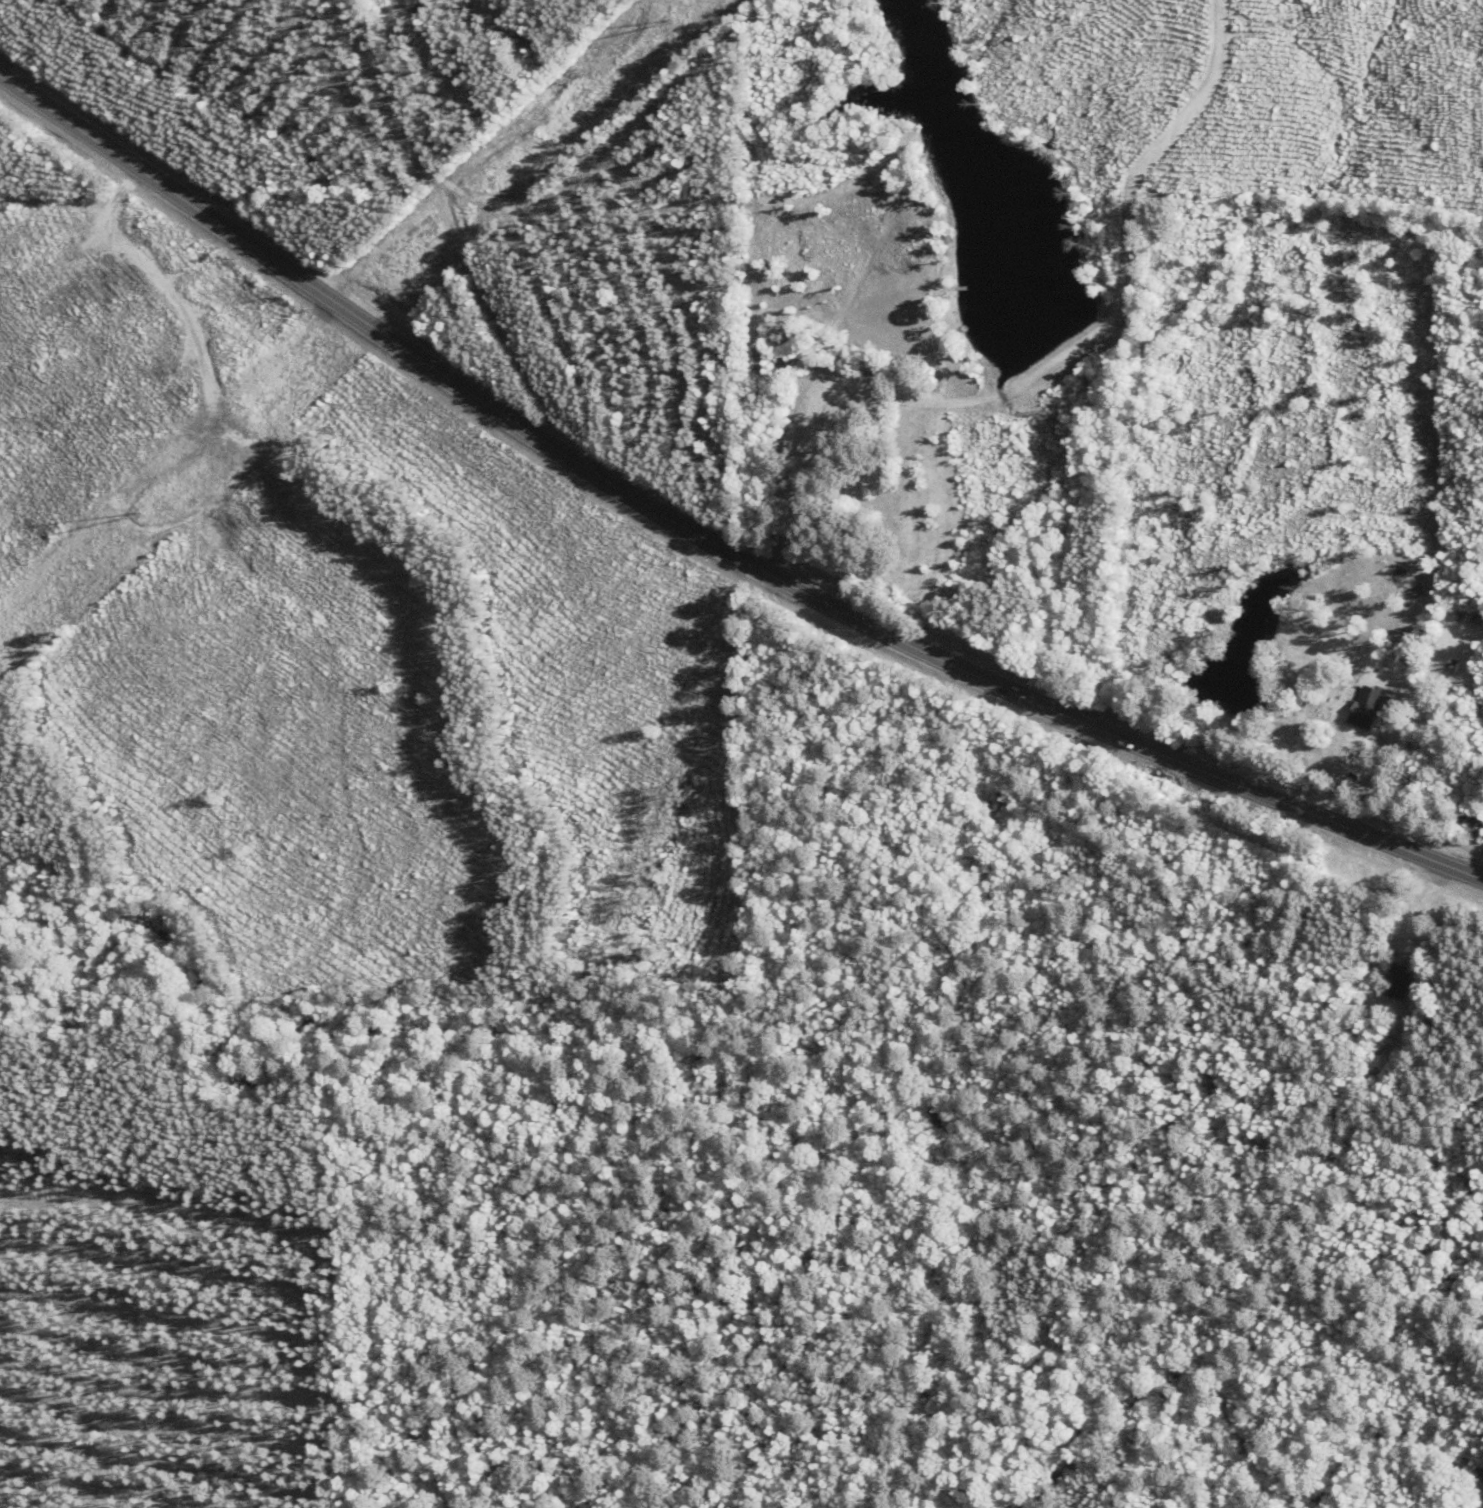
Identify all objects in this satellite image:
power tower: (673, 21)
power tower: (141, 514)
road: (708, 540)

